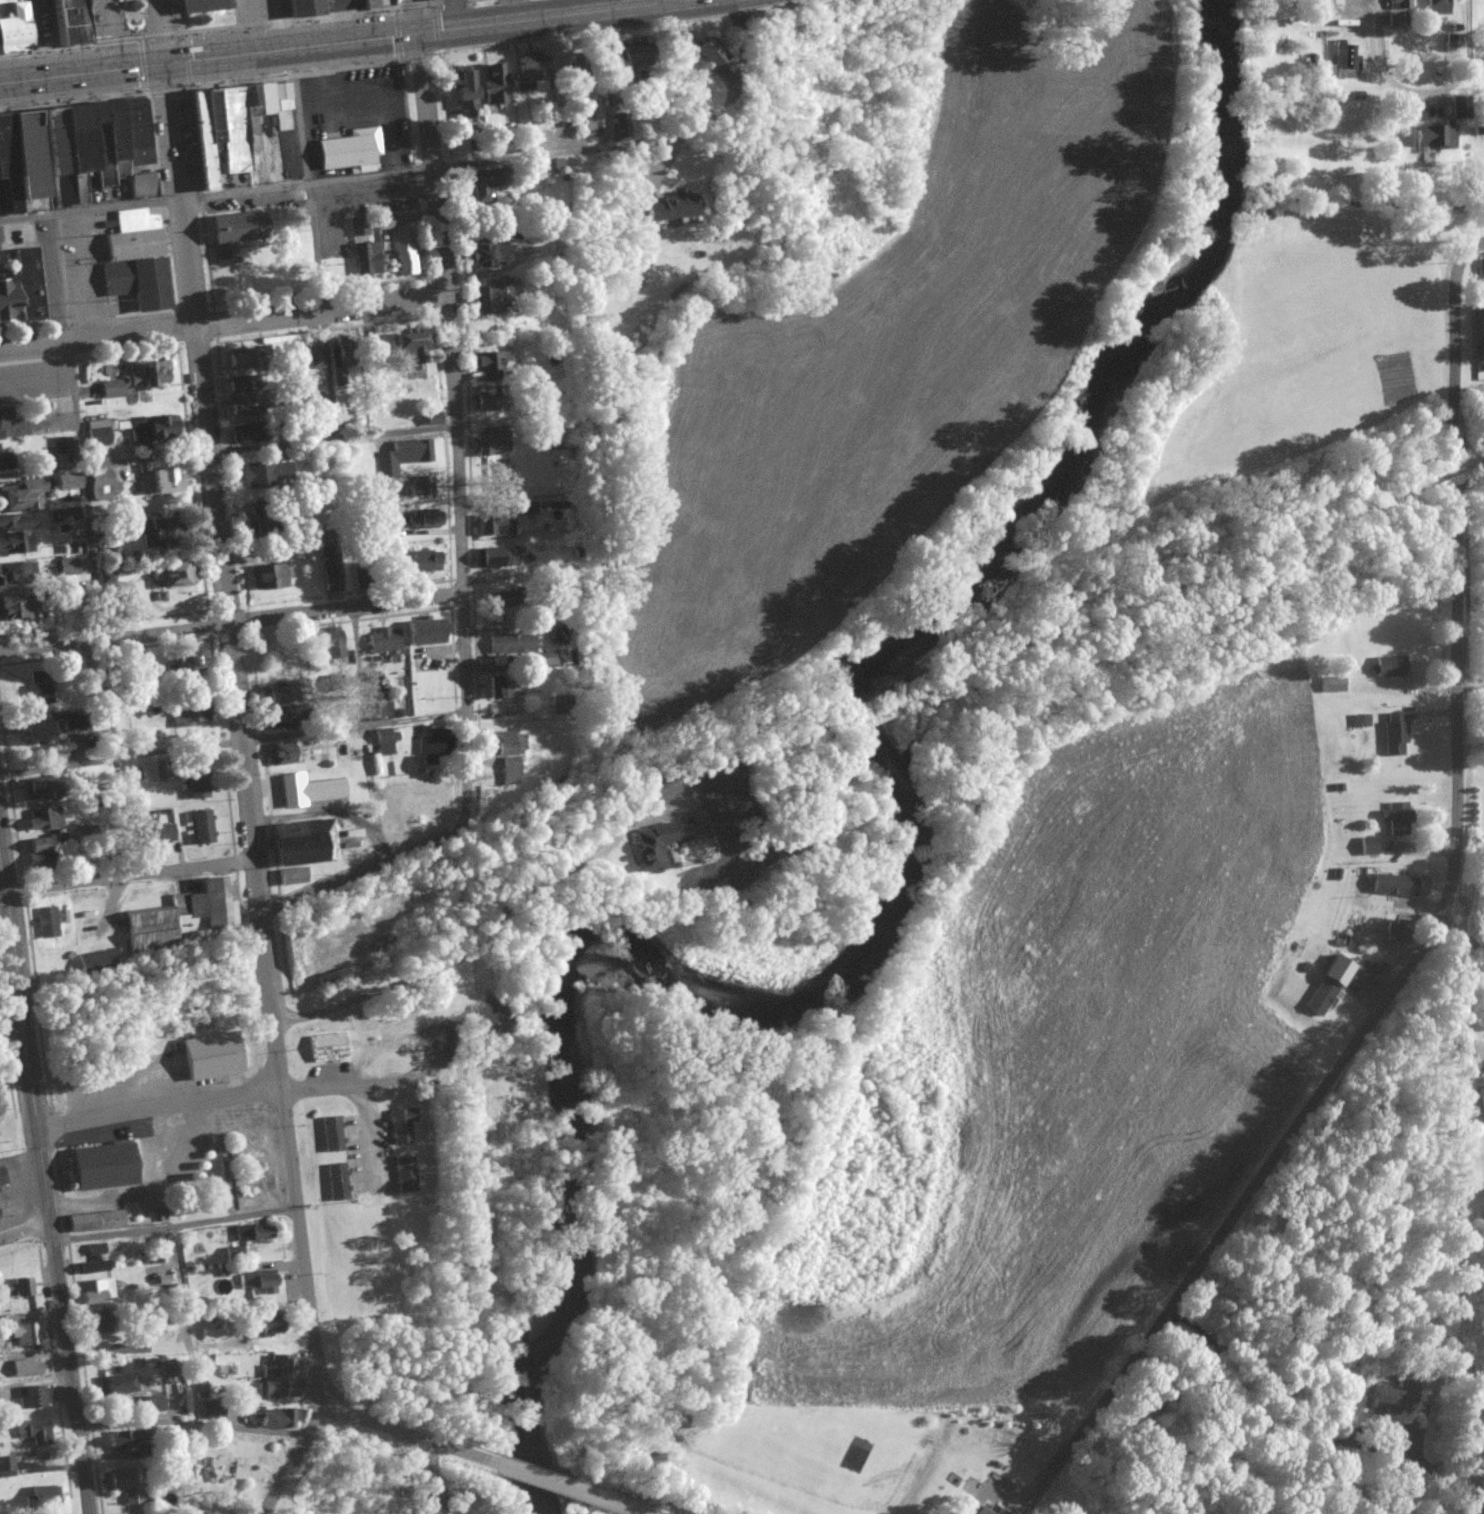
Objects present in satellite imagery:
road: (670, 1)
building: (375, 3)
building: (1403, 3)
building: (202, 6)
building: (1438, 7)
building: (302, 8)
building: (1320, 9)
road: (414, 16)
building: (1397, 20)
building: (65, 22)
building: (10, 27)
road: (161, 31)
road: (101, 35)
road: (34, 39)
road: (341, 41)
building: (706, 53)
building: (1345, 62)
building: (604, 68)
building: (492, 89)
building: (463, 94)
road: (1431, 95)
building: (1461, 107)
building: (232, 125)
building: (1436, 137)
building: (349, 150)
building: (69, 151)
building: (554, 167)
road: (405, 170)
building: (478, 185)
building: (141, 186)
building: (29, 206)
building: (296, 208)
building: (670, 208)
building: (384, 221)
building: (233, 235)
building: (0, 237)
building: (363, 251)
building: (404, 253)
building: (483, 255)
building: (135, 261)
building: (1482, 278)
building: (26, 284)
building: (484, 300)
building: (3, 303)
road: (224, 323)
building: (408, 349)
building: (341, 352)
building: (316, 357)
building: (239, 359)
road: (329, 362)
building: (490, 364)
building: (136, 379)
building: (486, 399)
building: (242, 409)
building: (3, 416)
building: (431, 419)
building: (97, 433)
building: (0, 439)
building: (493, 441)
building: (64, 444)
road: (229, 450)
building: (403, 456)
building: (5, 461)
building: (268, 474)
road: (80, 477)
building: (96, 478)
building: (65, 482)
building: (163, 483)
road: (1477, 484)
building: (423, 486)
road: (1457, 492)
building: (23, 497)
building: (528, 509)
building: (63, 515)
building: (426, 519)
building: (494, 524)
building: (16, 533)
building: (161, 533)
road: (464, 536)
building: (114, 557)
building: (497, 558)
building: (415, 561)
building: (68, 566)
building: (17, 572)
building: (175, 576)
building: (268, 577)
railway: (1228, 577)
building: (332, 578)
road: (1208, 595)
building: (497, 599)
building: (15, 609)
road: (233, 622)
building: (424, 633)
building: (386, 641)
building: (512, 643)
building: (335, 644)
building: (547, 660)
building: (186, 666)
building: (1391, 667)
road: (1468, 682)
building: (1335, 684)
building: (40, 688)
building: (493, 690)
building: (283, 694)
building: (188, 712)
building: (381, 712)
building: (281, 719)
building: (32, 730)
building: (1396, 735)
road: (235, 742)
building: (386, 742)
building: (433, 742)
building: (508, 753)
building: (284, 754)
building: (133, 778)
building: (198, 782)
building: (39, 789)
building: (308, 790)
road: (252, 795)
building: (1399, 818)
building: (45, 819)
building: (204, 827)
building: (158, 834)
building: (304, 843)
building: (42, 845)
building: (1370, 846)
building: (647, 847)
river: (906, 858)
building: (38, 864)
road: (130, 876)
building: (294, 876)
building: (1396, 884)
building: (187, 915)
building: (48, 923)
road: (490, 933)
building: (1396, 933)
road: (1429, 933)
road: (1460, 933)
building: (1338, 970)
building: (1322, 996)
building: (329, 1047)
building: (211, 1055)
road: (361, 1085)
building: (1482, 1095)
road: (161, 1108)
building: (402, 1125)
building: (332, 1133)
road: (370, 1137)
building: (102, 1166)
road: (46, 1169)
building: (406, 1174)
building: (3, 1177)
building: (337, 1181)
building: (97, 1221)
road: (177, 1224)
road: (27, 1230)
building: (253, 1232)
building: (95, 1260)
building: (259, 1283)
building: (24, 1286)
building: (96, 1290)
road: (186, 1323)
building: (96, 1325)
building: (264, 1325)
building: (28, 1333)
building: (214, 1333)
building: (120, 1349)
building: (27, 1367)
building: (215, 1370)
building: (278, 1378)
building: (122, 1384)
building: (34, 1396)
building: (1386, 1398)
building: (152, 1404)
building: (213, 1412)
building: (277, 1417)
road: (194, 1422)
road: (1263, 1422)
building: (34, 1431)
road: (409, 1434)
building: (124, 1440)
road: (427, 1463)
building: (7, 1467)
road: (535, 1475)
building: (124, 1483)
building: (45, 1495)
road: (608, 1500)
building: (428, 1501)
building: (985, 1510)

